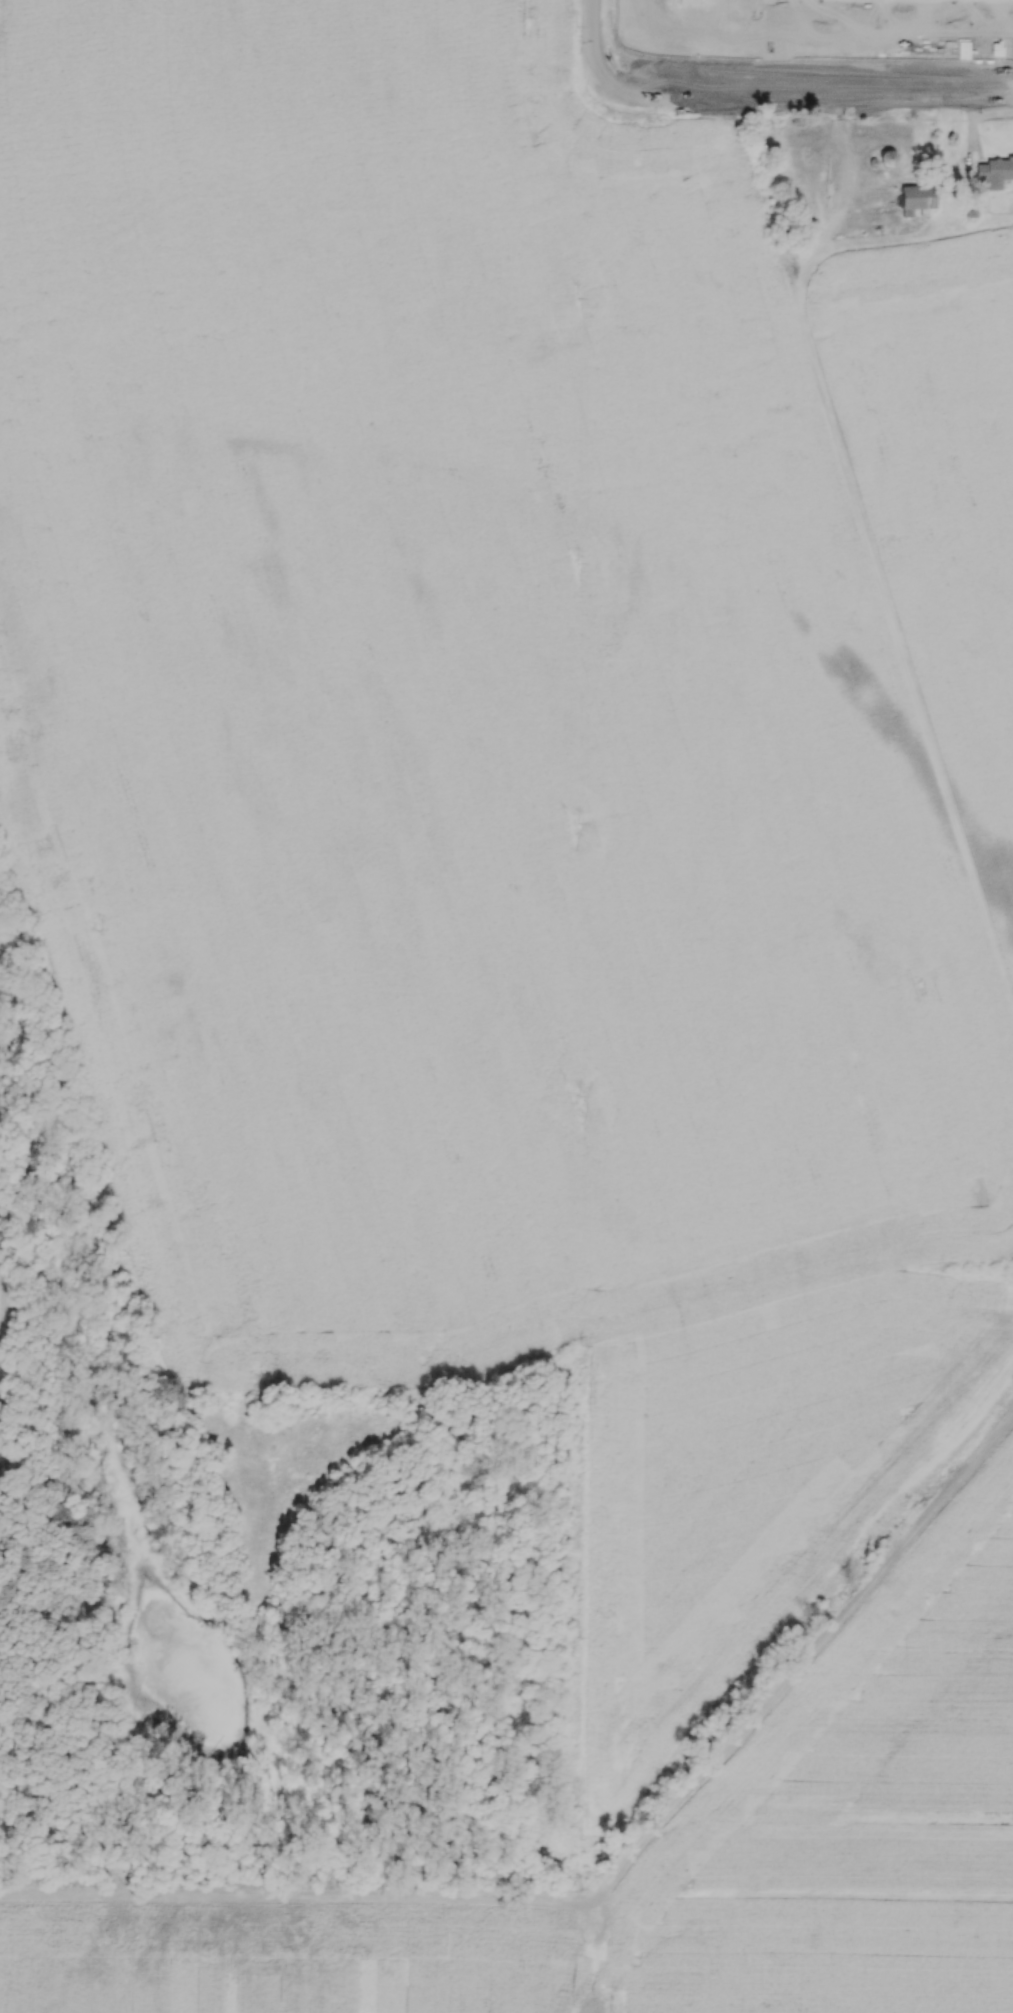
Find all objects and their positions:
road: (594, 42)
road: (810, 98)
crop: (517, 764)
crop: (674, 1858)

